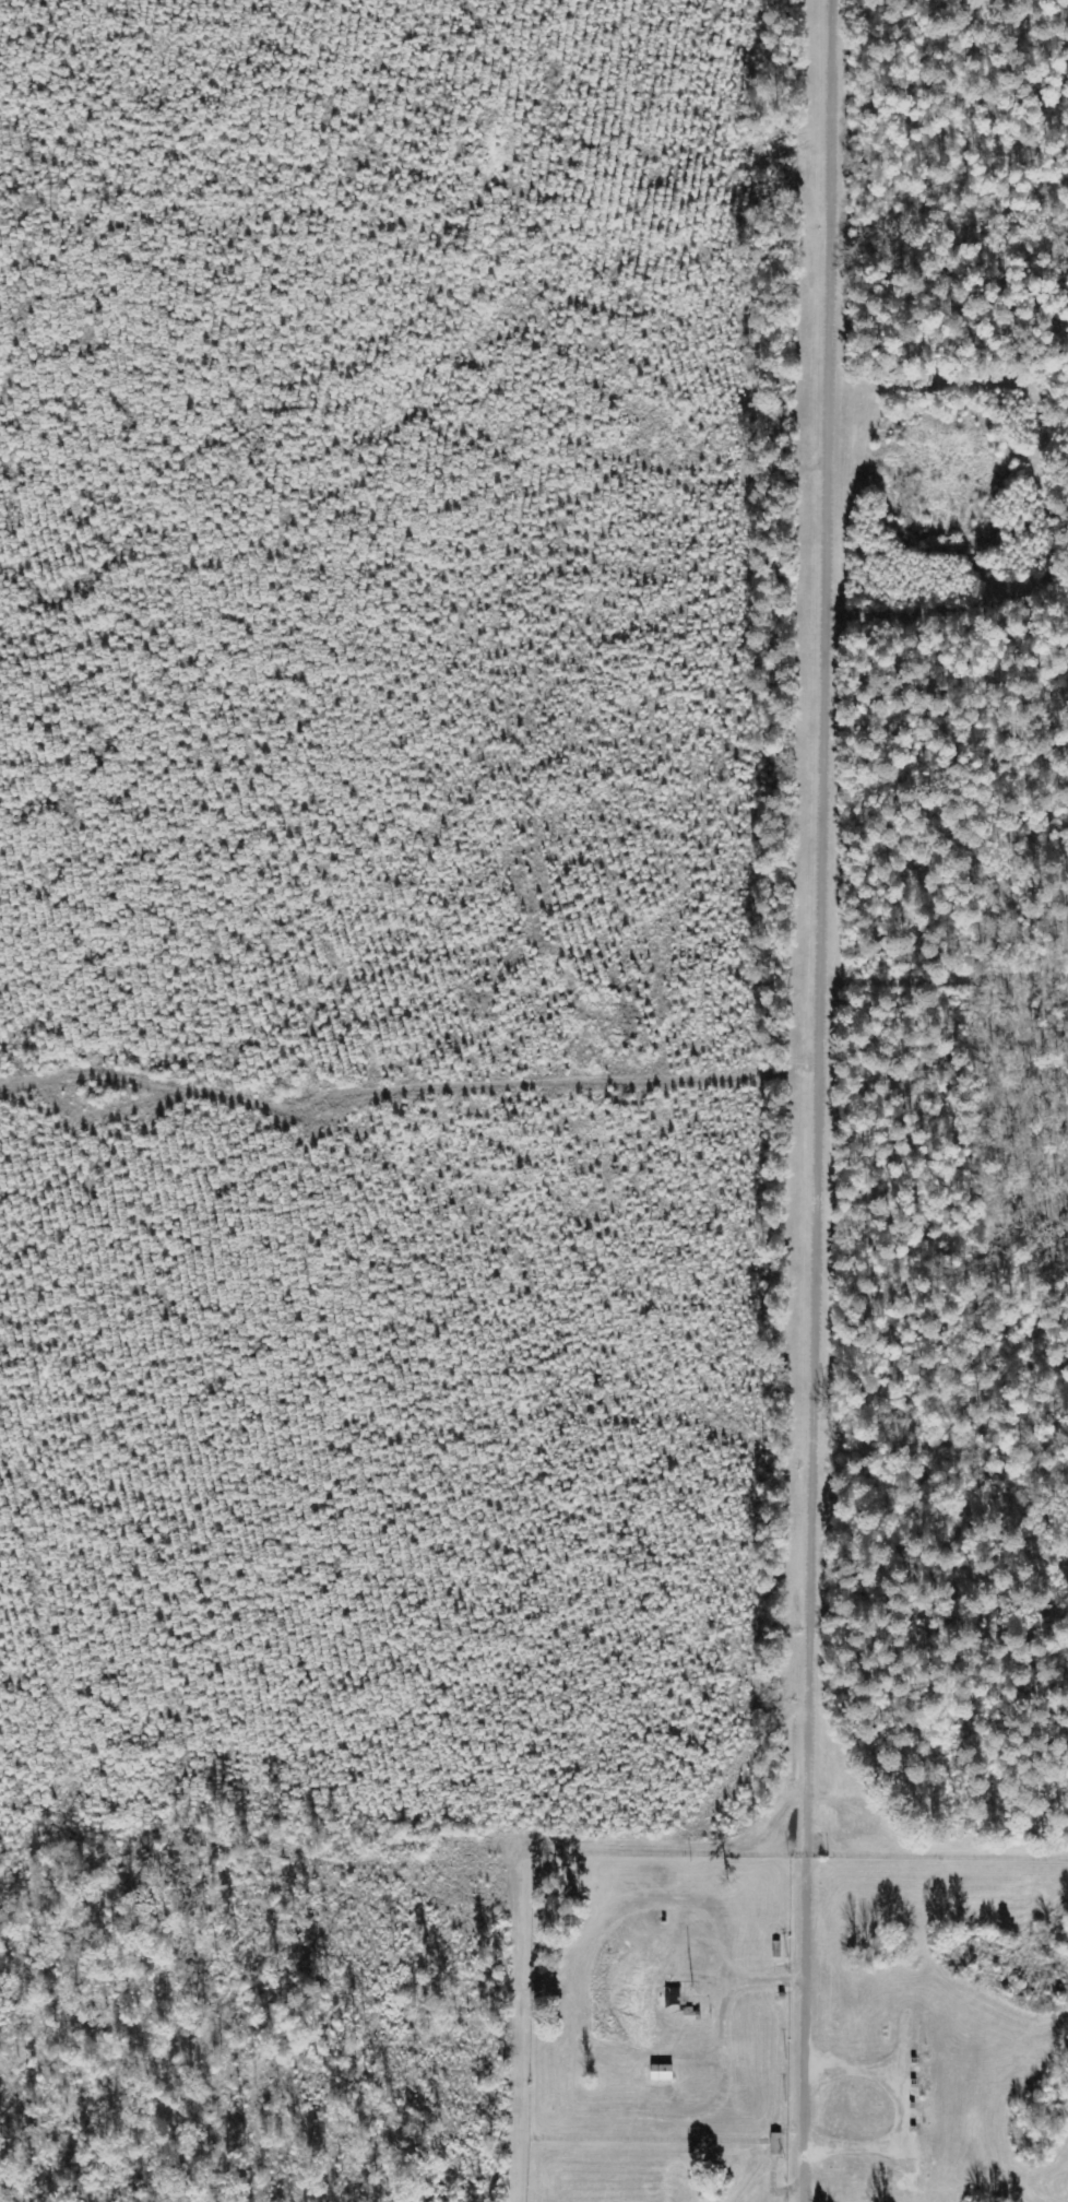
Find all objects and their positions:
road: (817, 1100)

